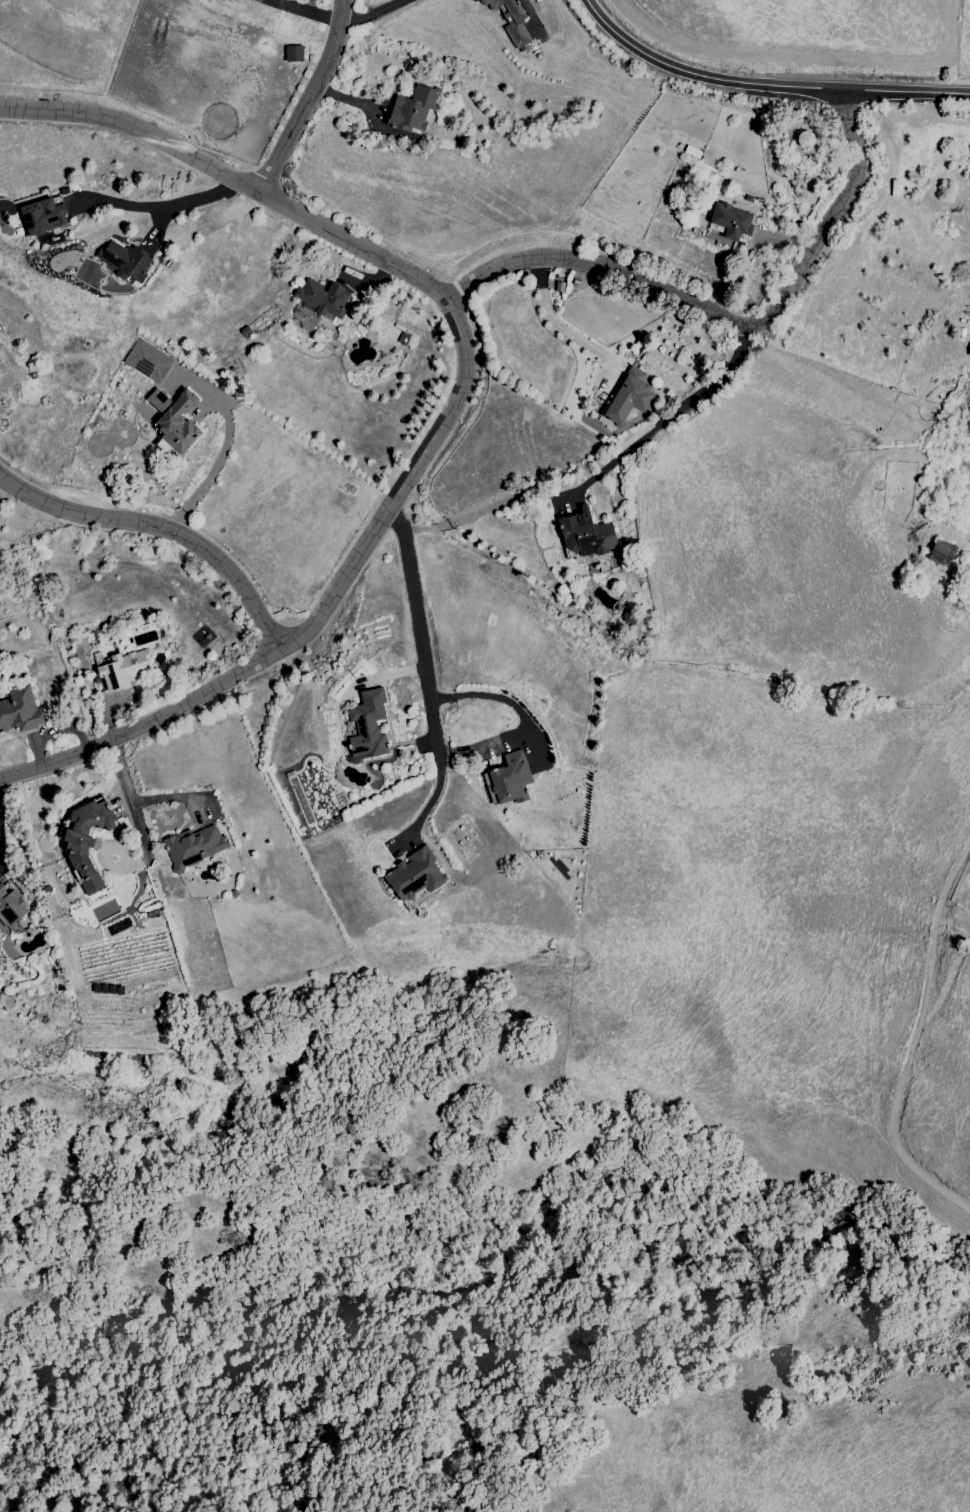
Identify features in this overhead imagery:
road: (299, 12)
road: (372, 13)
building: (518, 21)
building: (293, 54)
road: (766, 84)
road: (306, 98)
building: (413, 109)
road: (162, 208)
road: (824, 216)
building: (42, 217)
building: (727, 224)
road: (599, 268)
road: (415, 276)
building: (318, 303)
building: (969, 350)
building: (147, 361)
building: (629, 396)
building: (174, 419)
road: (604, 472)
road: (161, 529)
building: (941, 553)
road: (421, 639)
building: (123, 670)
road: (497, 697)
building: (20, 710)
road: (145, 726)
building: (367, 727)
building: (523, 746)
building: (506, 779)
road: (128, 799)
building: (85, 841)
building: (194, 846)
building: (414, 875)
building: (11, 906)
building: (5, 1000)

